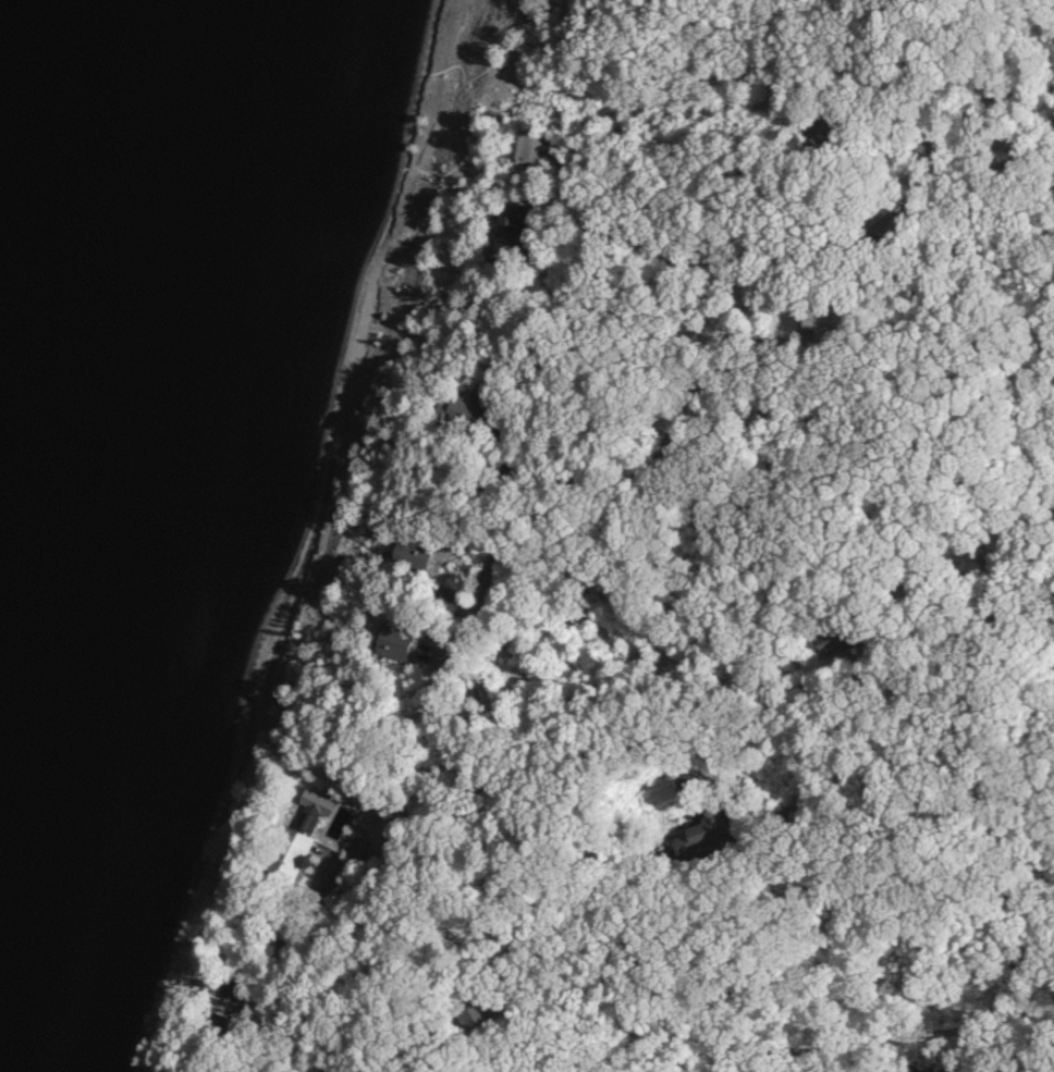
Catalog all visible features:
building: (528, 144)
road: (780, 219)
building: (516, 227)
road: (879, 242)
road: (621, 267)
building: (469, 405)
road: (576, 493)
road: (648, 516)
road: (751, 549)
building: (404, 557)
building: (292, 831)
road: (563, 927)
road: (454, 960)
road: (968, 1056)

